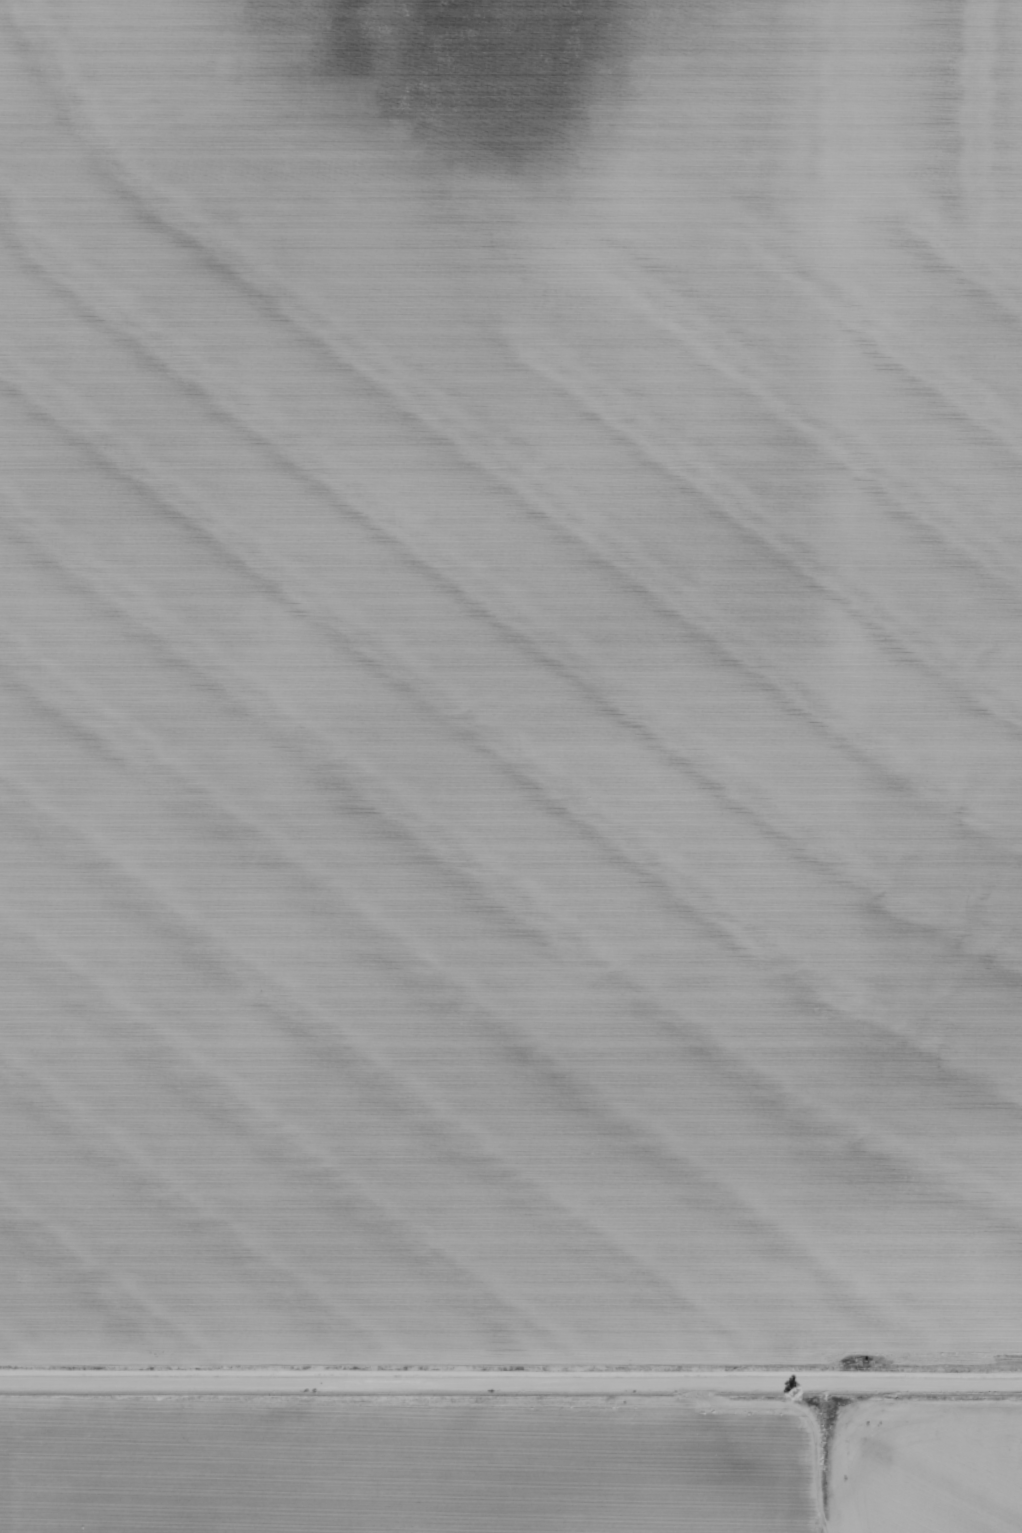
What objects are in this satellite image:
road: (511, 1383)

